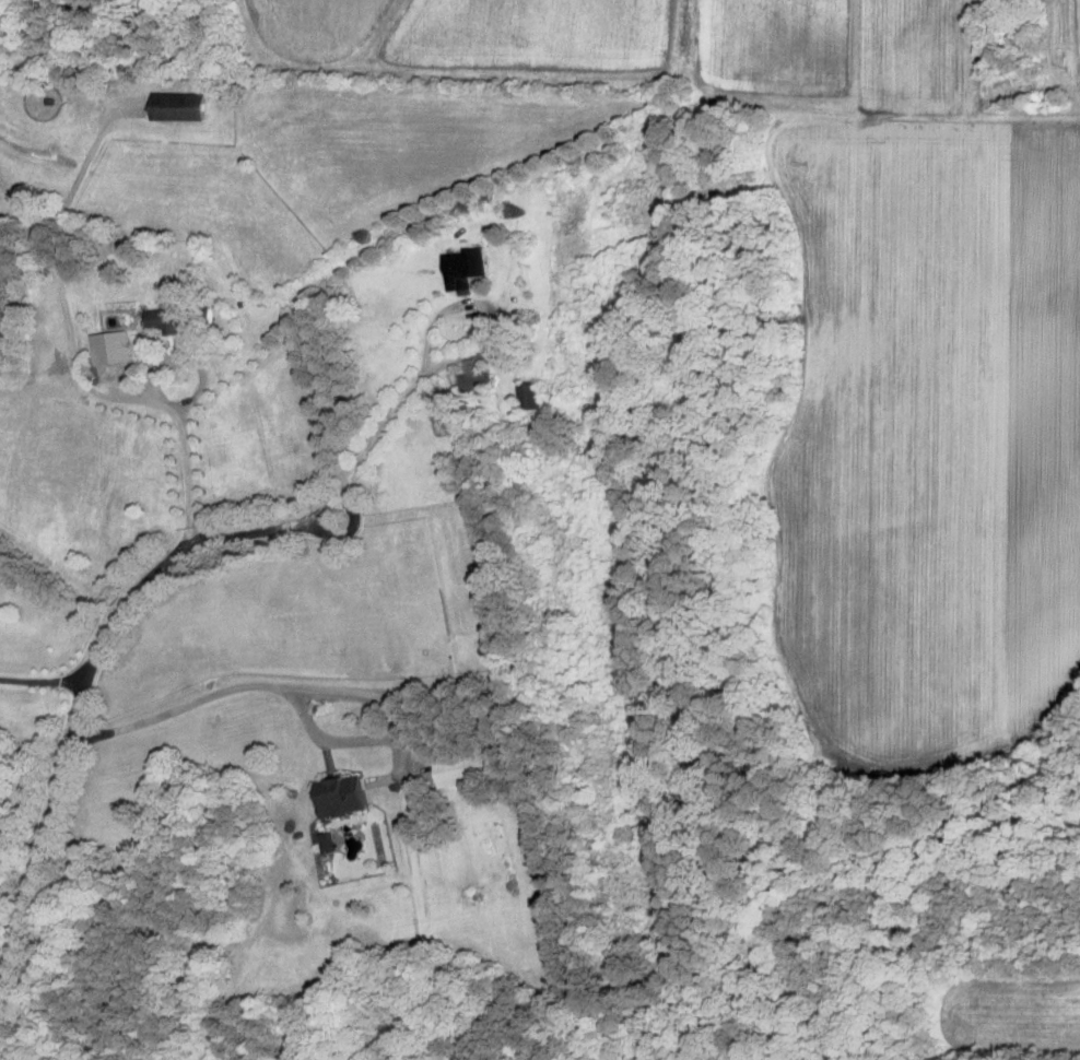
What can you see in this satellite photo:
building: (180, 104)
building: (466, 268)
building: (173, 317)
building: (108, 340)
road: (429, 344)
building: (479, 379)
building: (532, 394)
road: (188, 402)
road: (43, 679)
road: (85, 683)
road: (238, 685)
building: (468, 768)
building: (348, 794)
building: (330, 841)

